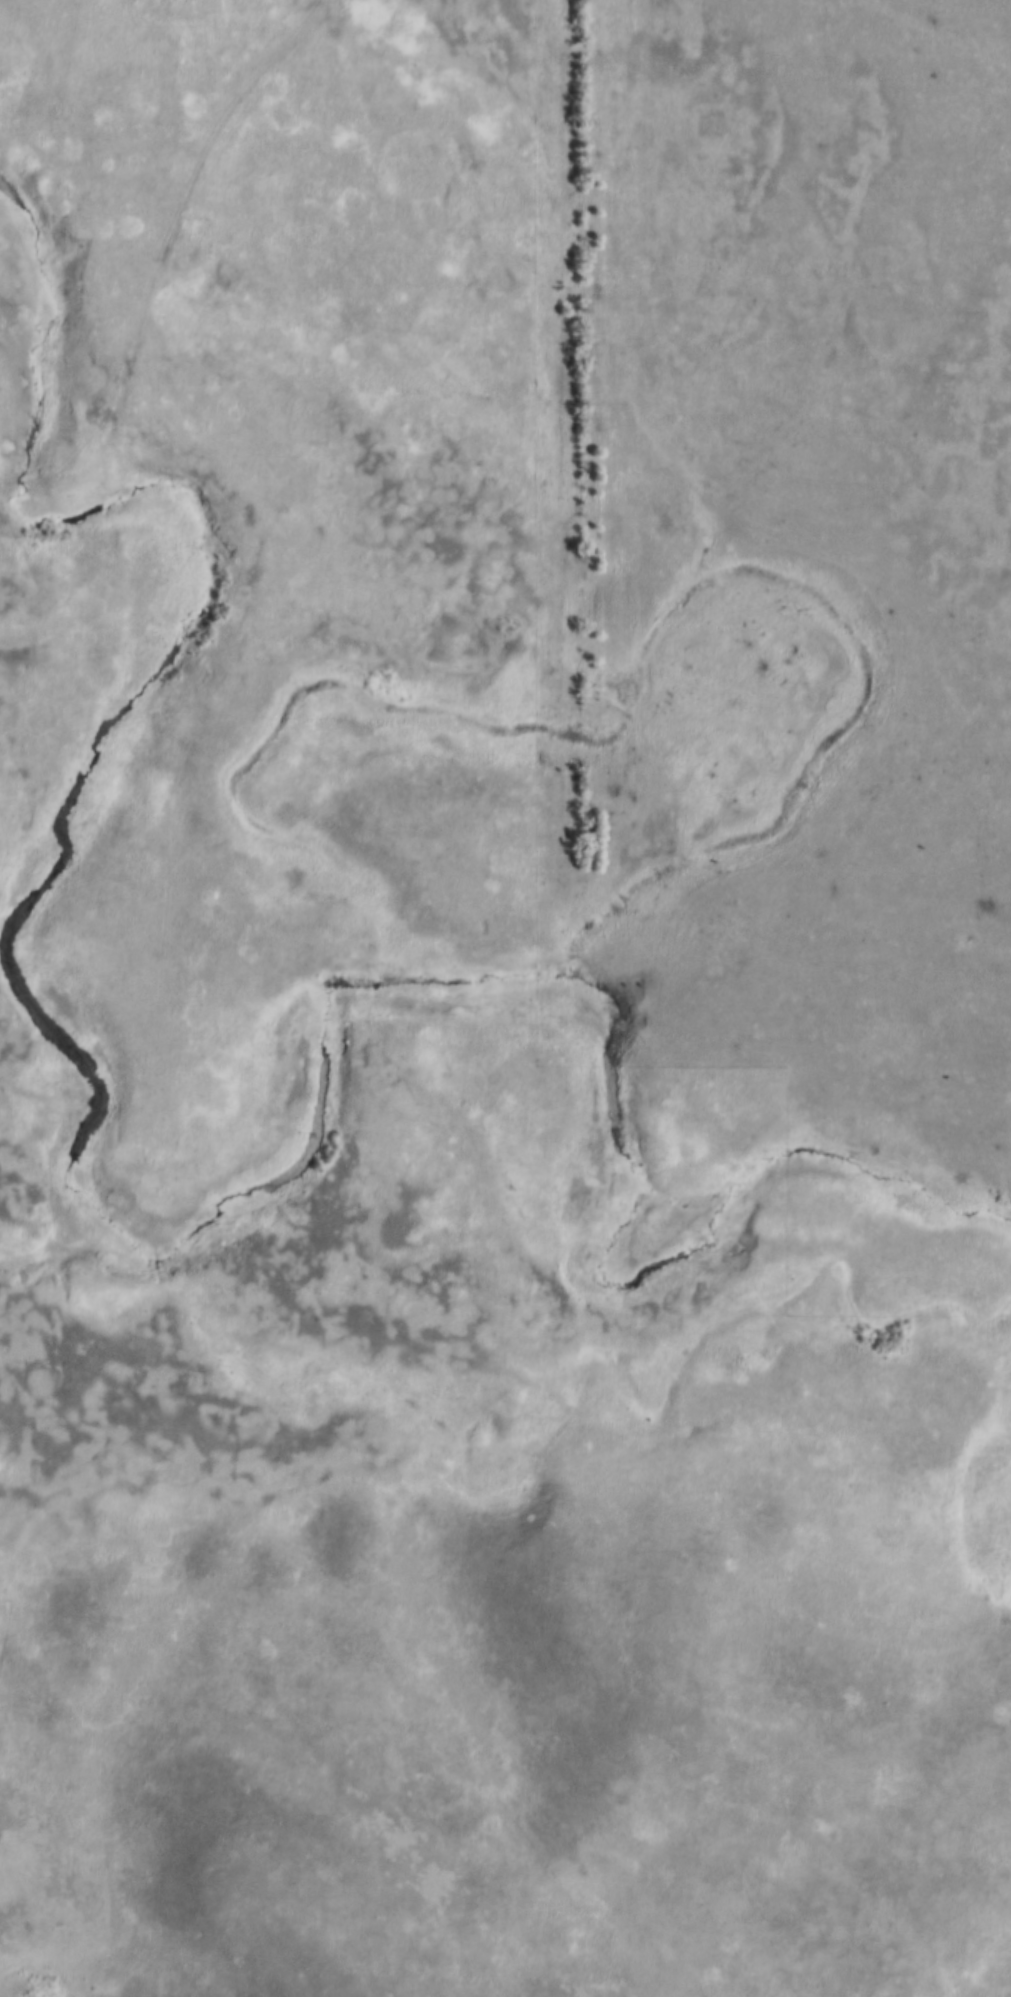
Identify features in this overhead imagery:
road: (166, 258)
road: (447, 1644)

